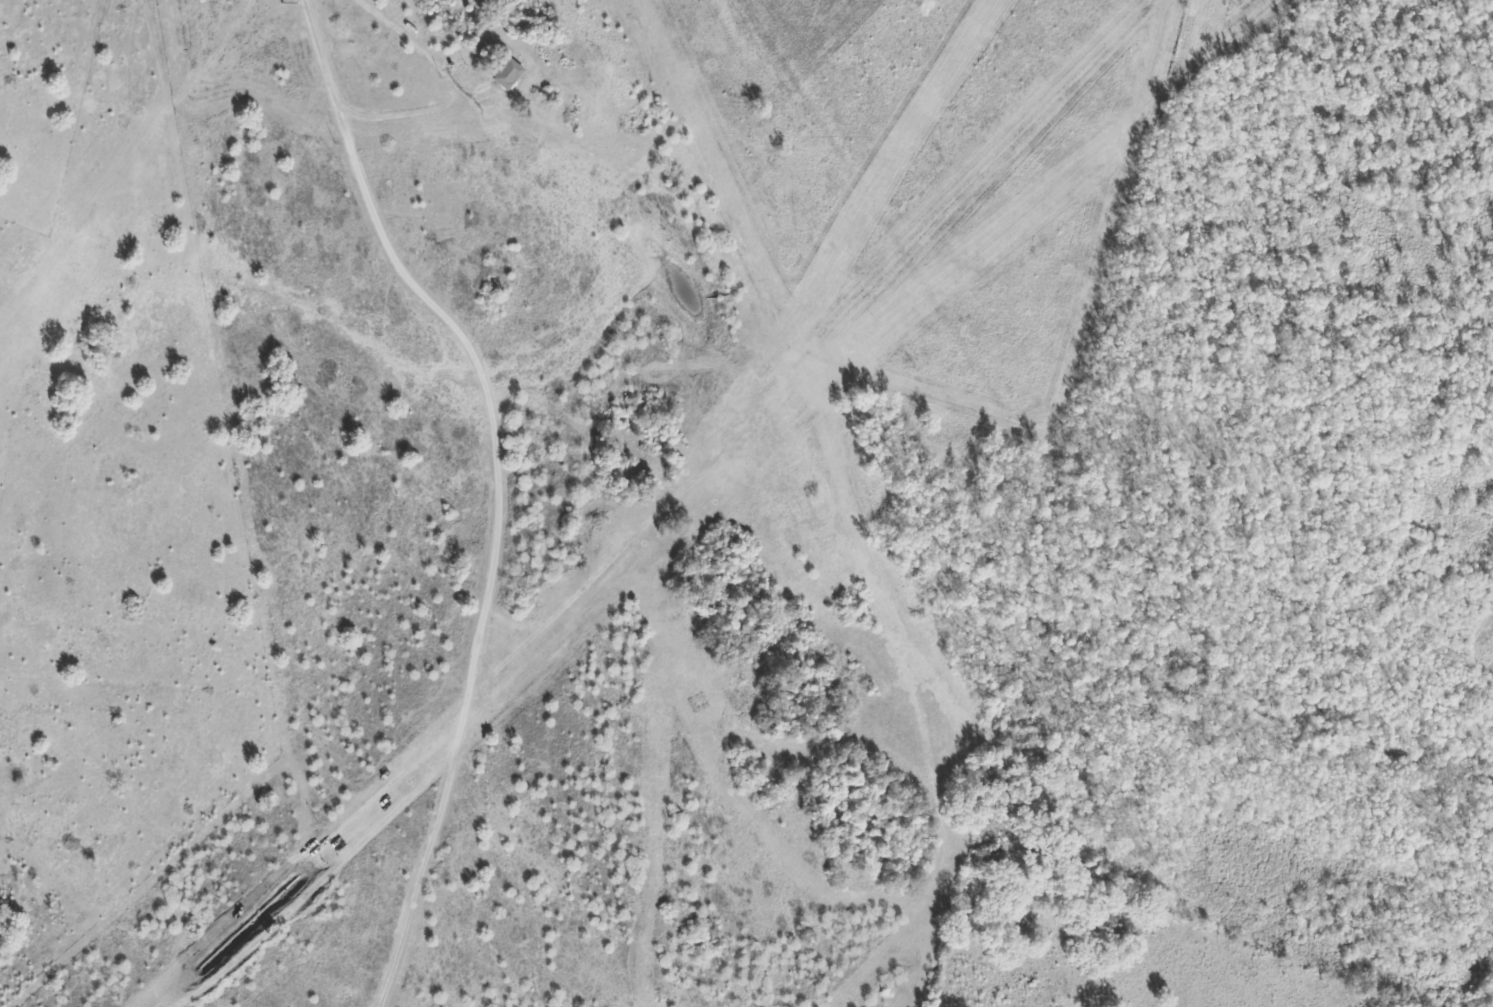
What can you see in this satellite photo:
building: (509, 68)

